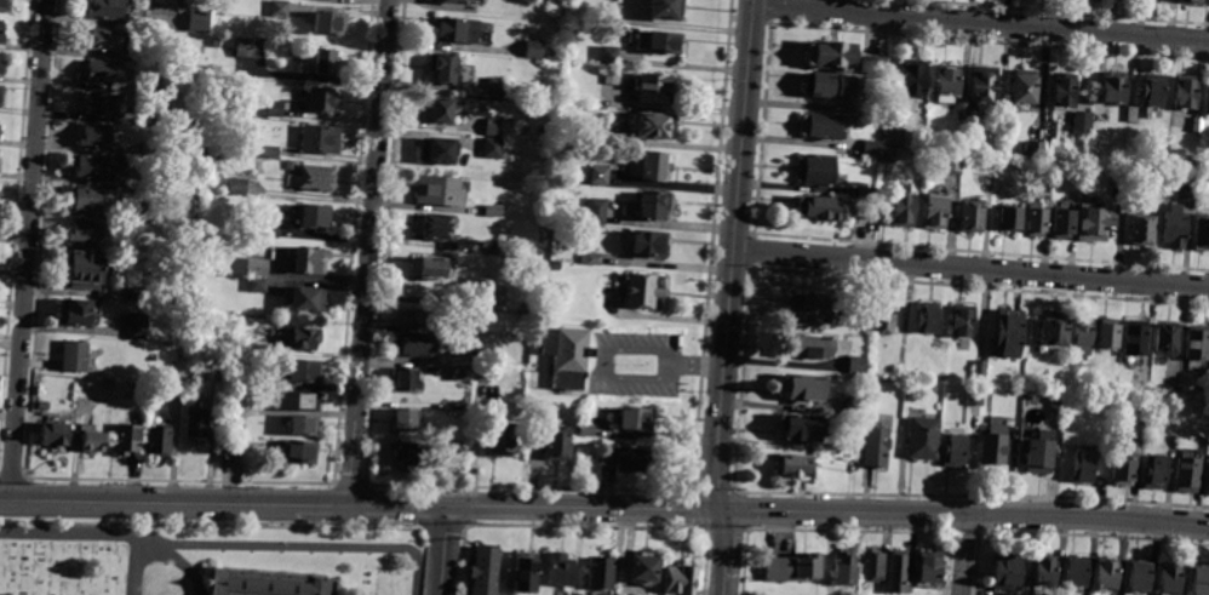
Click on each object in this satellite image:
building: (1163, 0)
building: (453, 2)
building: (1194, 2)
building: (4, 5)
building: (279, 8)
building: (105, 10)
building: (667, 11)
building: (613, 15)
building: (199, 21)
road: (981, 23)
building: (328, 25)
building: (459, 30)
building: (1, 34)
building: (104, 40)
building: (216, 42)
building: (658, 42)
building: (248, 48)
building: (533, 48)
building: (569, 53)
building: (608, 55)
building: (831, 57)
building: (325, 62)
building: (873, 65)
building: (1, 68)
building: (442, 69)
building: (571, 70)
building: (104, 73)
building: (611, 76)
building: (911, 76)
building: (947, 84)
building: (569, 85)
building: (495, 86)
building: (657, 87)
building: (830, 87)
building: (1027, 88)
building: (1113, 88)
building: (984, 90)
building: (1153, 91)
building: (0, 92)
building: (1062, 92)
building: (1186, 93)
building: (321, 99)
building: (1207, 99)
building: (105, 105)
building: (275, 108)
building: (439, 111)
building: (962, 113)
building: (1131, 114)
building: (176, 119)
building: (1083, 122)
building: (654, 125)
building: (1198, 125)
building: (492, 126)
building: (823, 126)
building: (94, 136)
building: (601, 137)
building: (319, 138)
building: (892, 138)
building: (491, 148)
building: (871, 148)
building: (271, 149)
building: (437, 149)
building: (1035, 149)
building: (149, 150)
building: (890, 155)
building: (953, 162)
building: (291, 165)
building: (652, 165)
building: (98, 167)
building: (816, 170)
building: (600, 175)
building: (315, 177)
building: (237, 187)
building: (1188, 188)
building: (437, 190)
building: (865, 193)
building: (88, 198)
building: (652, 204)
building: (818, 206)
building: (904, 210)
building: (144, 211)
building: (493, 211)
building: (596, 211)
building: (864, 211)
building: (935, 212)
building: (313, 216)
building: (972, 217)
building: (1009, 218)
building: (1038, 219)
building: (1064, 222)
building: (1093, 223)
building: (432, 225)
building: (1175, 228)
building: (269, 229)
building: (1144, 229)
building: (86, 231)
building: (1202, 233)
building: (646, 242)
road: (27, 248)
building: (491, 248)
road: (368, 251)
road: (730, 254)
building: (590, 258)
building: (309, 259)
building: (555, 265)
building: (197, 267)
building: (256, 267)
building: (429, 267)
building: (86, 269)
road: (970, 269)
building: (257, 285)
building: (643, 290)
building: (139, 293)
building: (495, 296)
building: (304, 298)
building: (813, 308)
building: (76, 313)
building: (882, 314)
building: (526, 317)
building: (928, 317)
building: (416, 319)
building: (961, 320)
building: (137, 326)
building: (1053, 331)
building: (1007, 333)
building: (1081, 336)
building: (1105, 337)
building: (1135, 338)
building: (1168, 338)
building: (297, 339)
building: (417, 344)
building: (1197, 344)
building: (809, 345)
building: (259, 350)
road: (655, 350)
building: (482, 353)
building: (567, 355)
building: (74, 356)
road: (604, 362)
road: (697, 365)
building: (535, 366)
building: (856, 366)
building: (218, 371)
building: (304, 371)
building: (462, 371)
building: (481, 372)
building: (901, 373)
building: (978, 373)
road: (631, 378)
building: (406, 379)
building: (71, 384)
building: (108, 385)
building: (230, 387)
building: (803, 387)
building: (1139, 389)
building: (1174, 395)
building: (230, 397)
building: (974, 397)
building: (299, 400)
building: (1033, 401)
building: (853, 406)
building: (460, 411)
building: (636, 418)
building: (406, 420)
building: (196, 422)
building: (303, 424)
building: (800, 427)
building: (586, 430)
building: (228, 433)
building: (1141, 433)
building: (53, 434)
building: (923, 437)
building: (127, 439)
building: (502, 439)
building: (92, 441)
building: (1173, 441)
building: (157, 442)
building: (557, 445)
building: (849, 446)
building: (876, 447)
building: (992, 447)
building: (233, 450)
building: (955, 450)
building: (294, 452)
building: (1038, 453)
building: (409, 457)
building: (629, 458)
building: (793, 467)
building: (1082, 467)
building: (1122, 469)
building: (1153, 471)
building: (1186, 475)
building: (1208, 480)
road: (174, 499)
road: (399, 503)
traffic signals: (447, 504)
road: (464, 504)
road: (583, 507)
traffic signals: (718, 509)
road: (963, 513)
road: (210, 539)
park: (218, 547)
road: (724, 548)
road: (442, 549)
road: (963, 554)
road: (136, 565)
building: (873, 565)
building: (793, 568)
building: (560, 570)
building: (646, 570)
building: (844, 570)
building: (1044, 570)
building: (485, 571)
building: (1007, 571)
building: (1075, 571)
building: (602, 572)
building: (928, 572)
road: (417, 573)
building: (900, 573)
building: (1106, 573)
building: (1139, 574)
building: (525, 576)
building: (1170, 578)
building: (678, 579)
building: (1199, 580)
building: (267, 584)
road: (721, 591)

